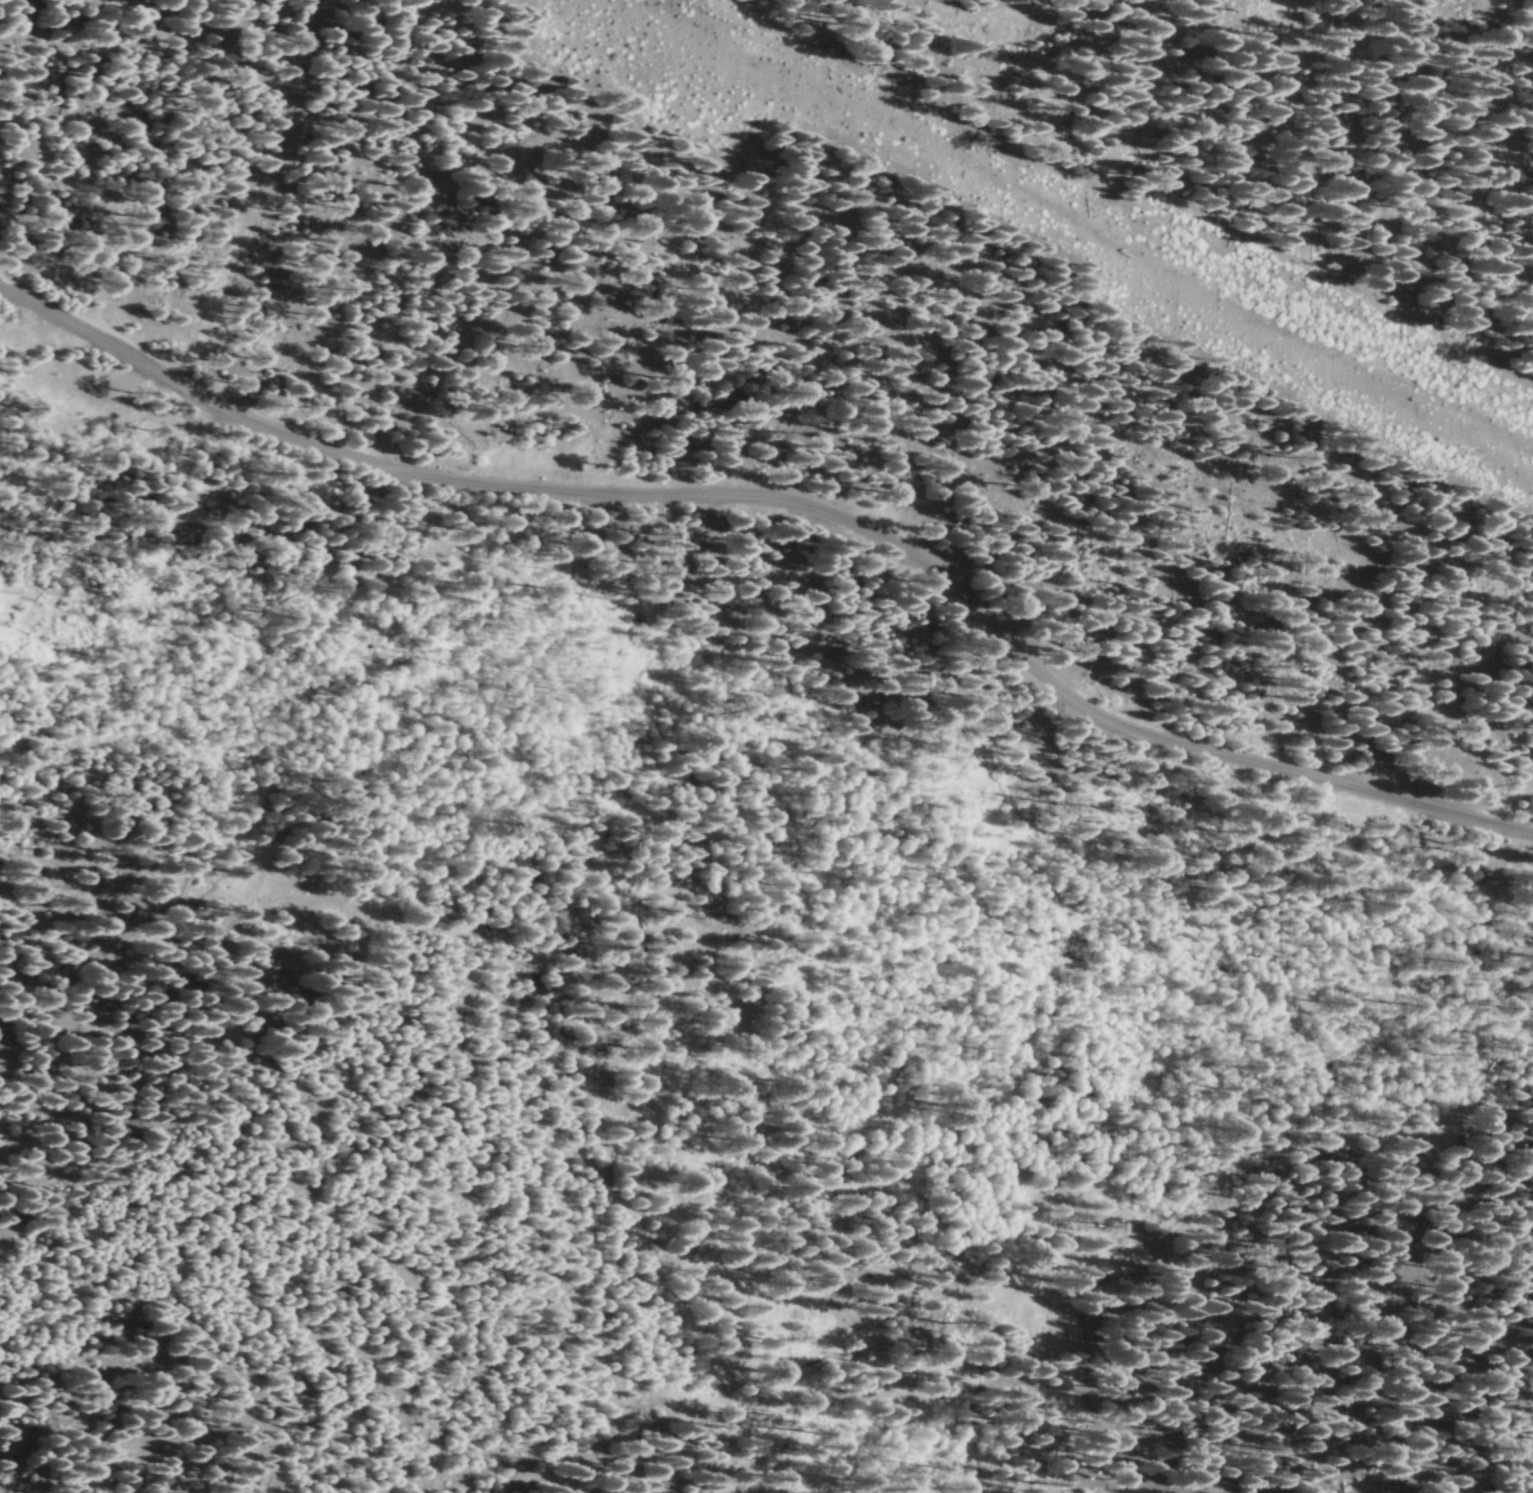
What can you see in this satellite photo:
road: (788, 502)
road: (702, 930)

